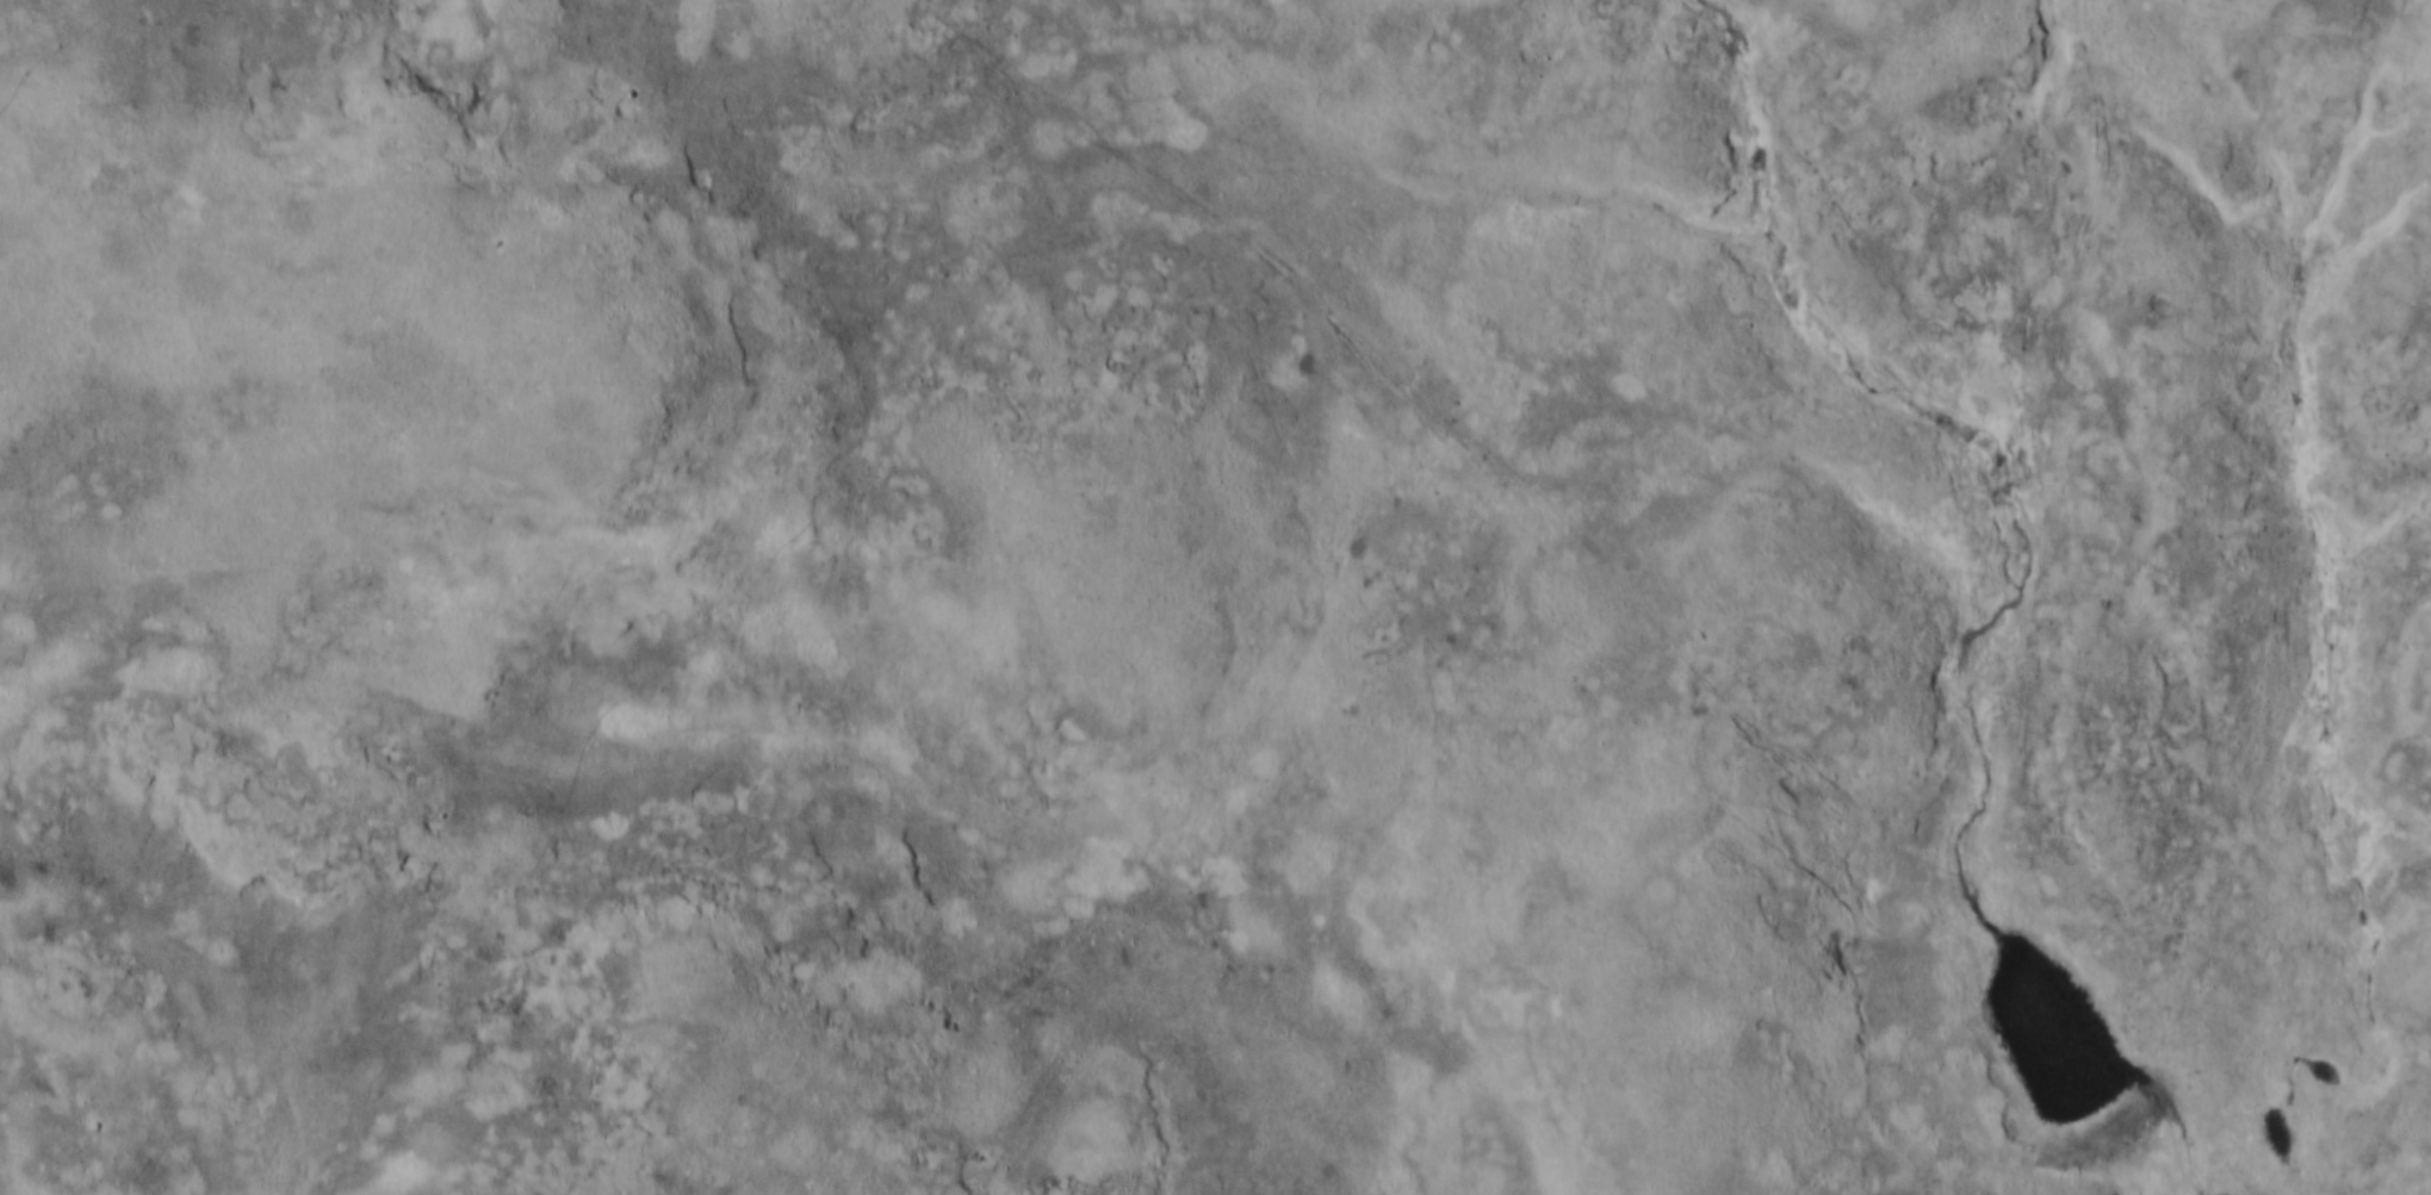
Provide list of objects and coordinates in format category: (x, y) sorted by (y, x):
dam: (2109, 1126)

